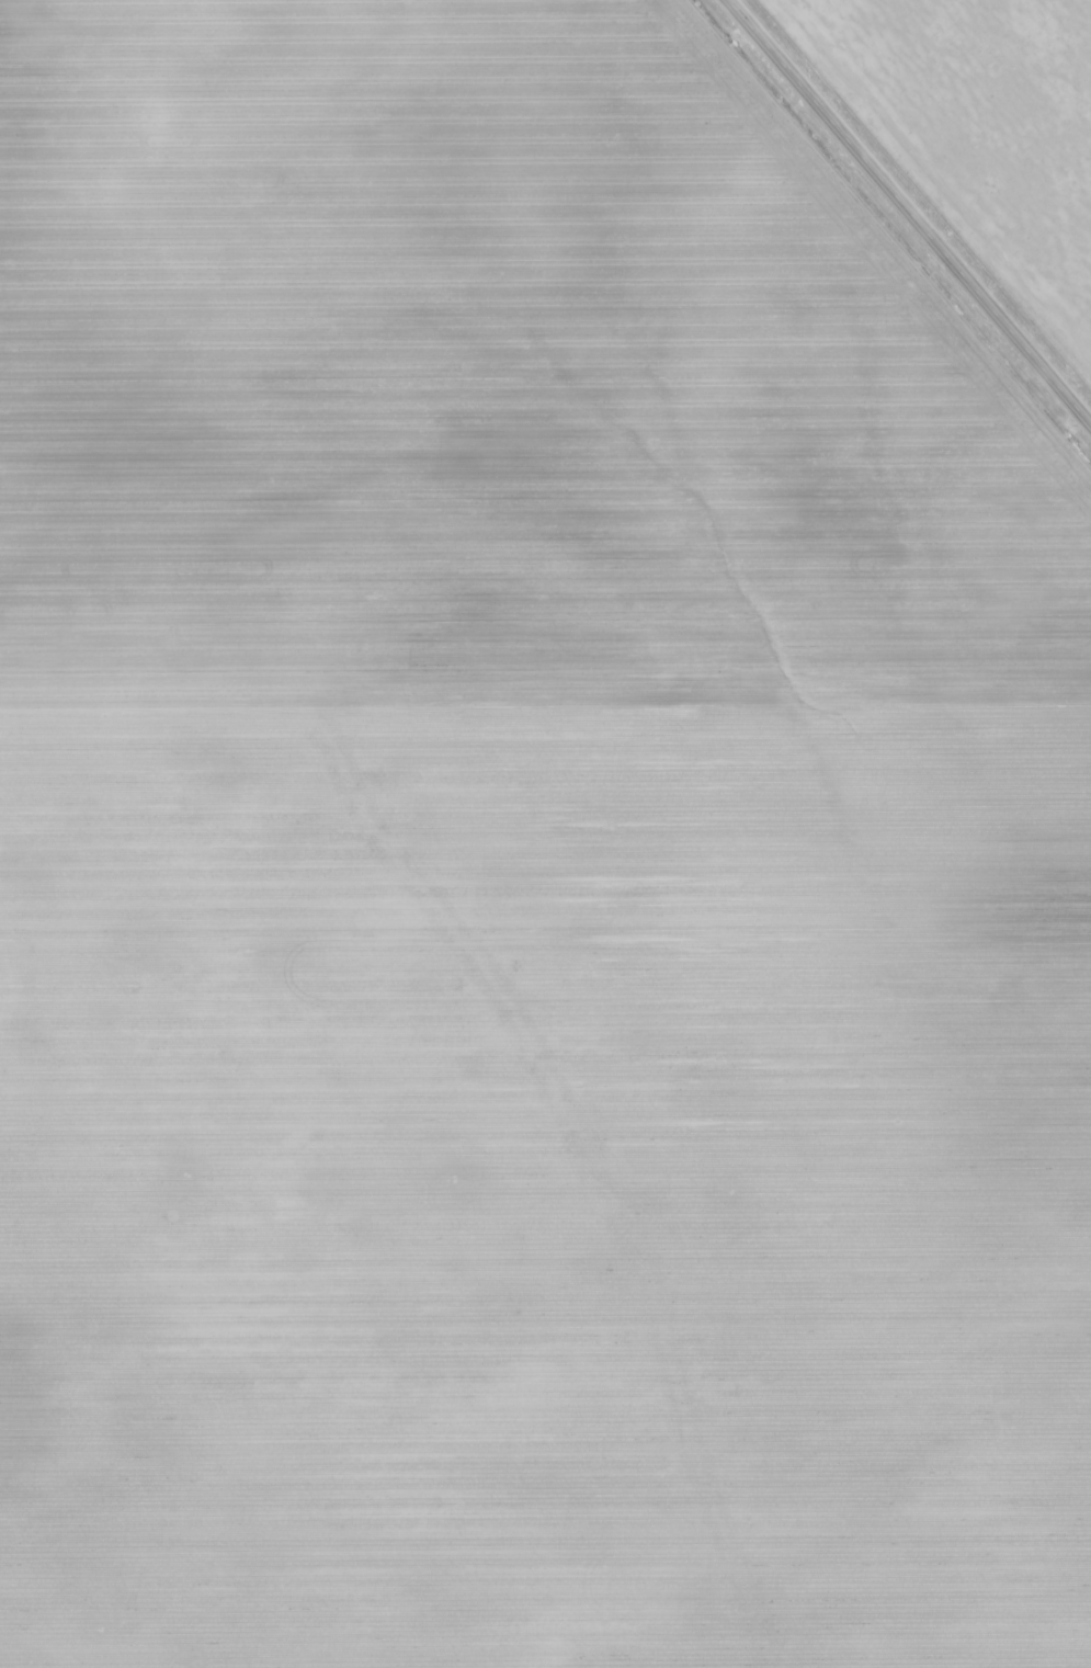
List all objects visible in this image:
road: (908, 213)

